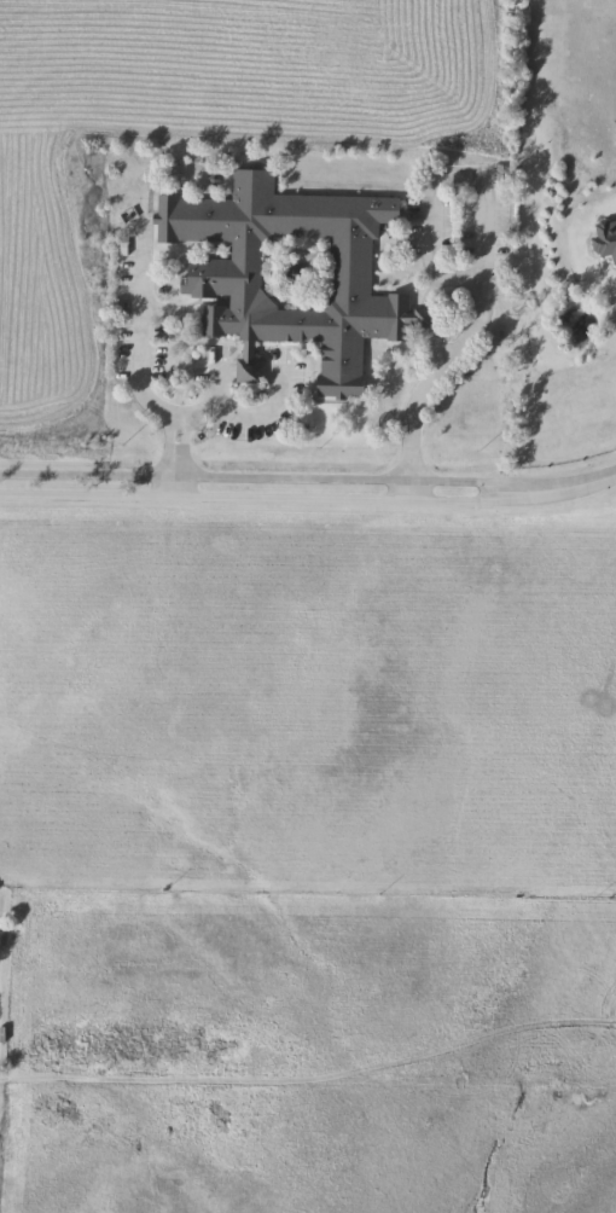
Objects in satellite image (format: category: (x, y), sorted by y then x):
road: (461, 176)
building: (605, 239)
building: (291, 275)
road: (455, 279)
road: (471, 335)
road: (248, 368)
road: (136, 376)
road: (217, 383)
road: (257, 422)
road: (413, 439)
road: (597, 476)
road: (576, 483)
road: (307, 1092)

